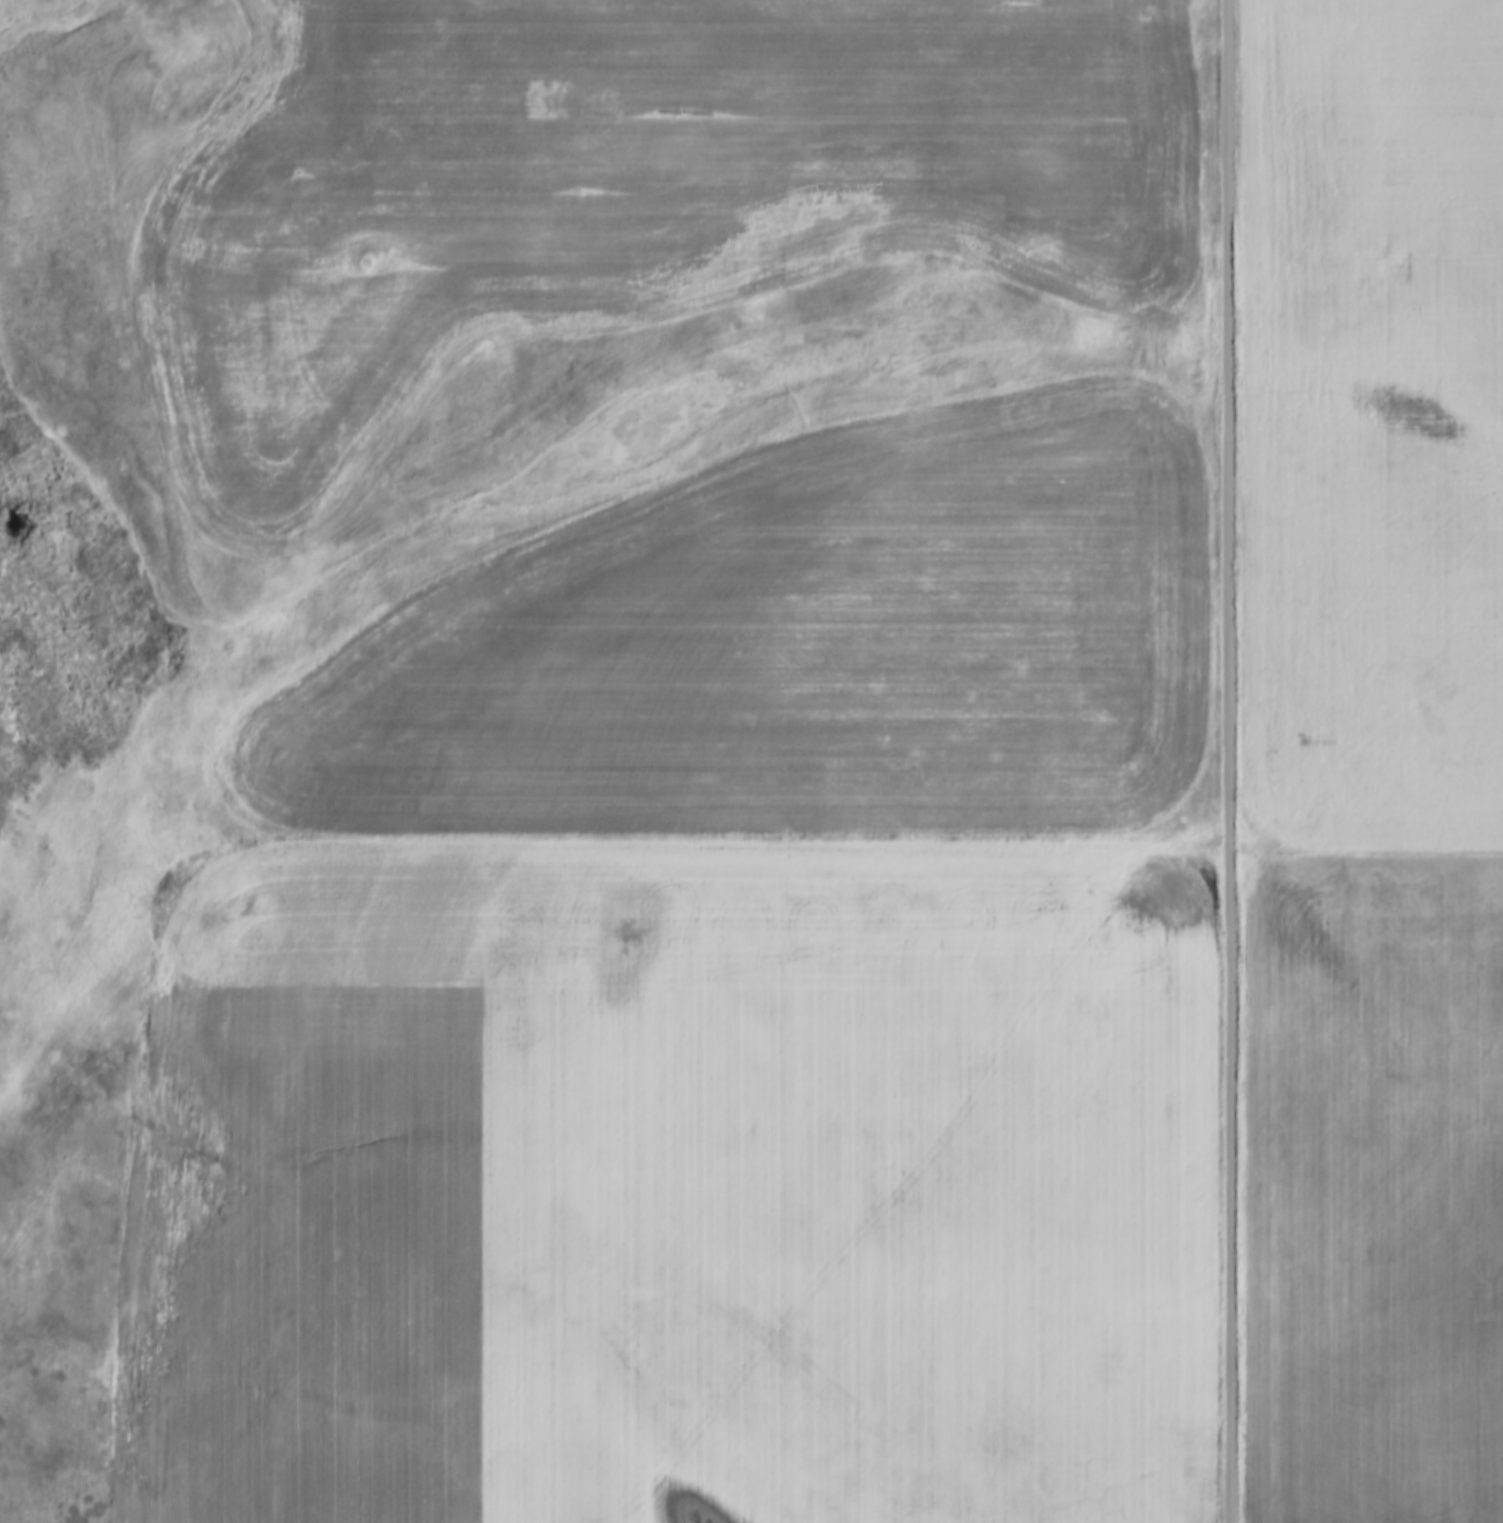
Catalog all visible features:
road: (1225, 761)

